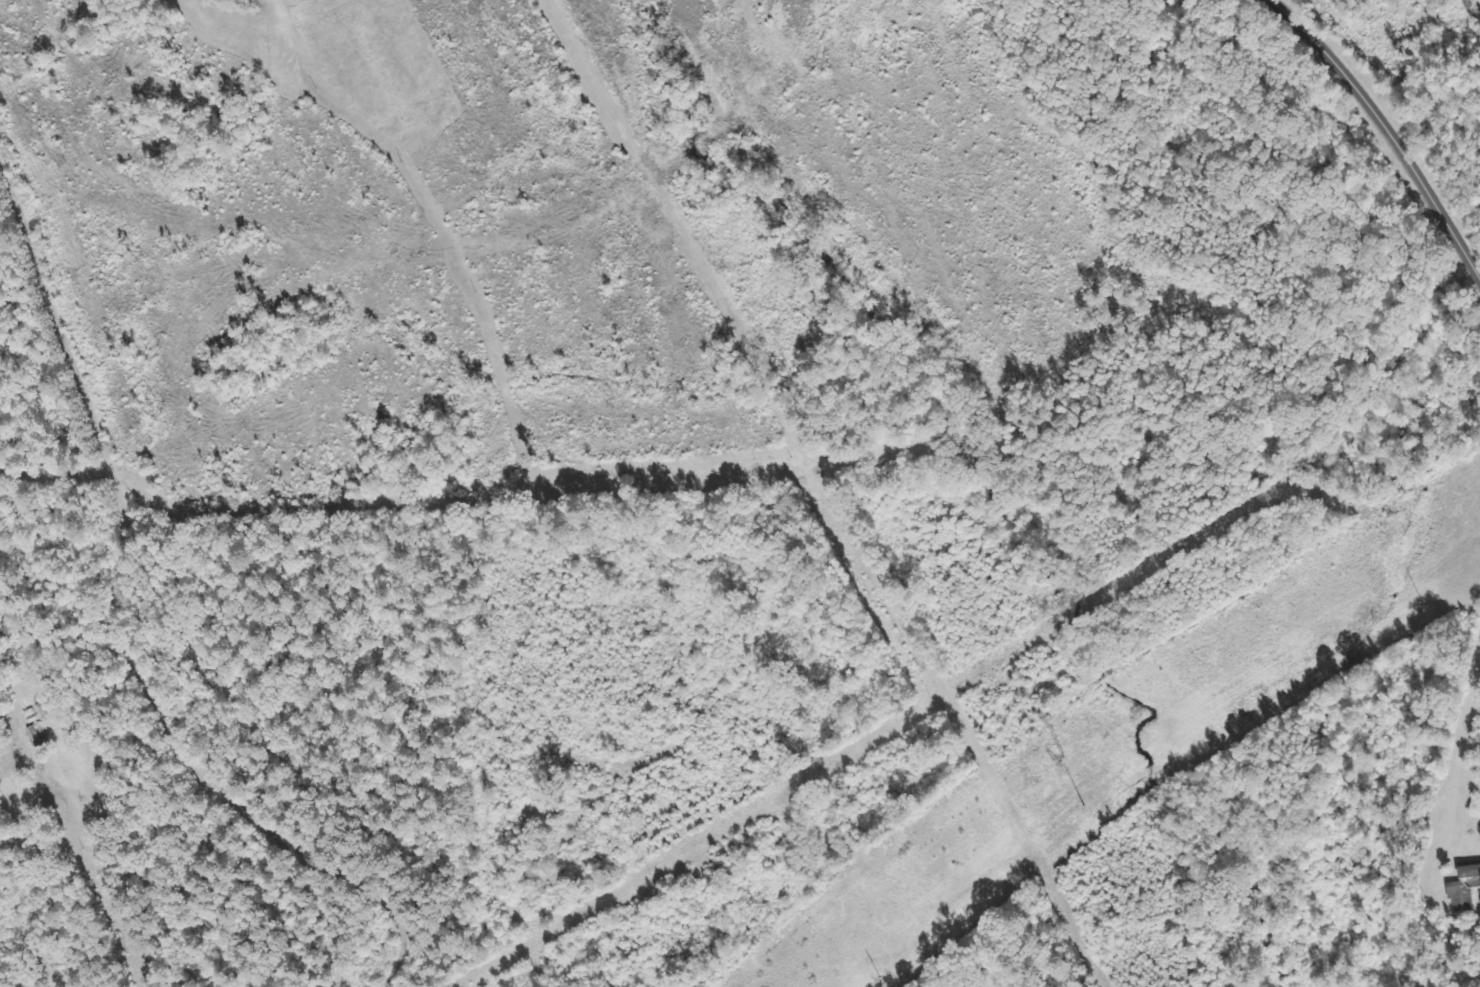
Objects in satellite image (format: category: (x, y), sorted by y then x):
road: (1386, 133)
power tower: (1063, 759)
building: (1463, 890)

